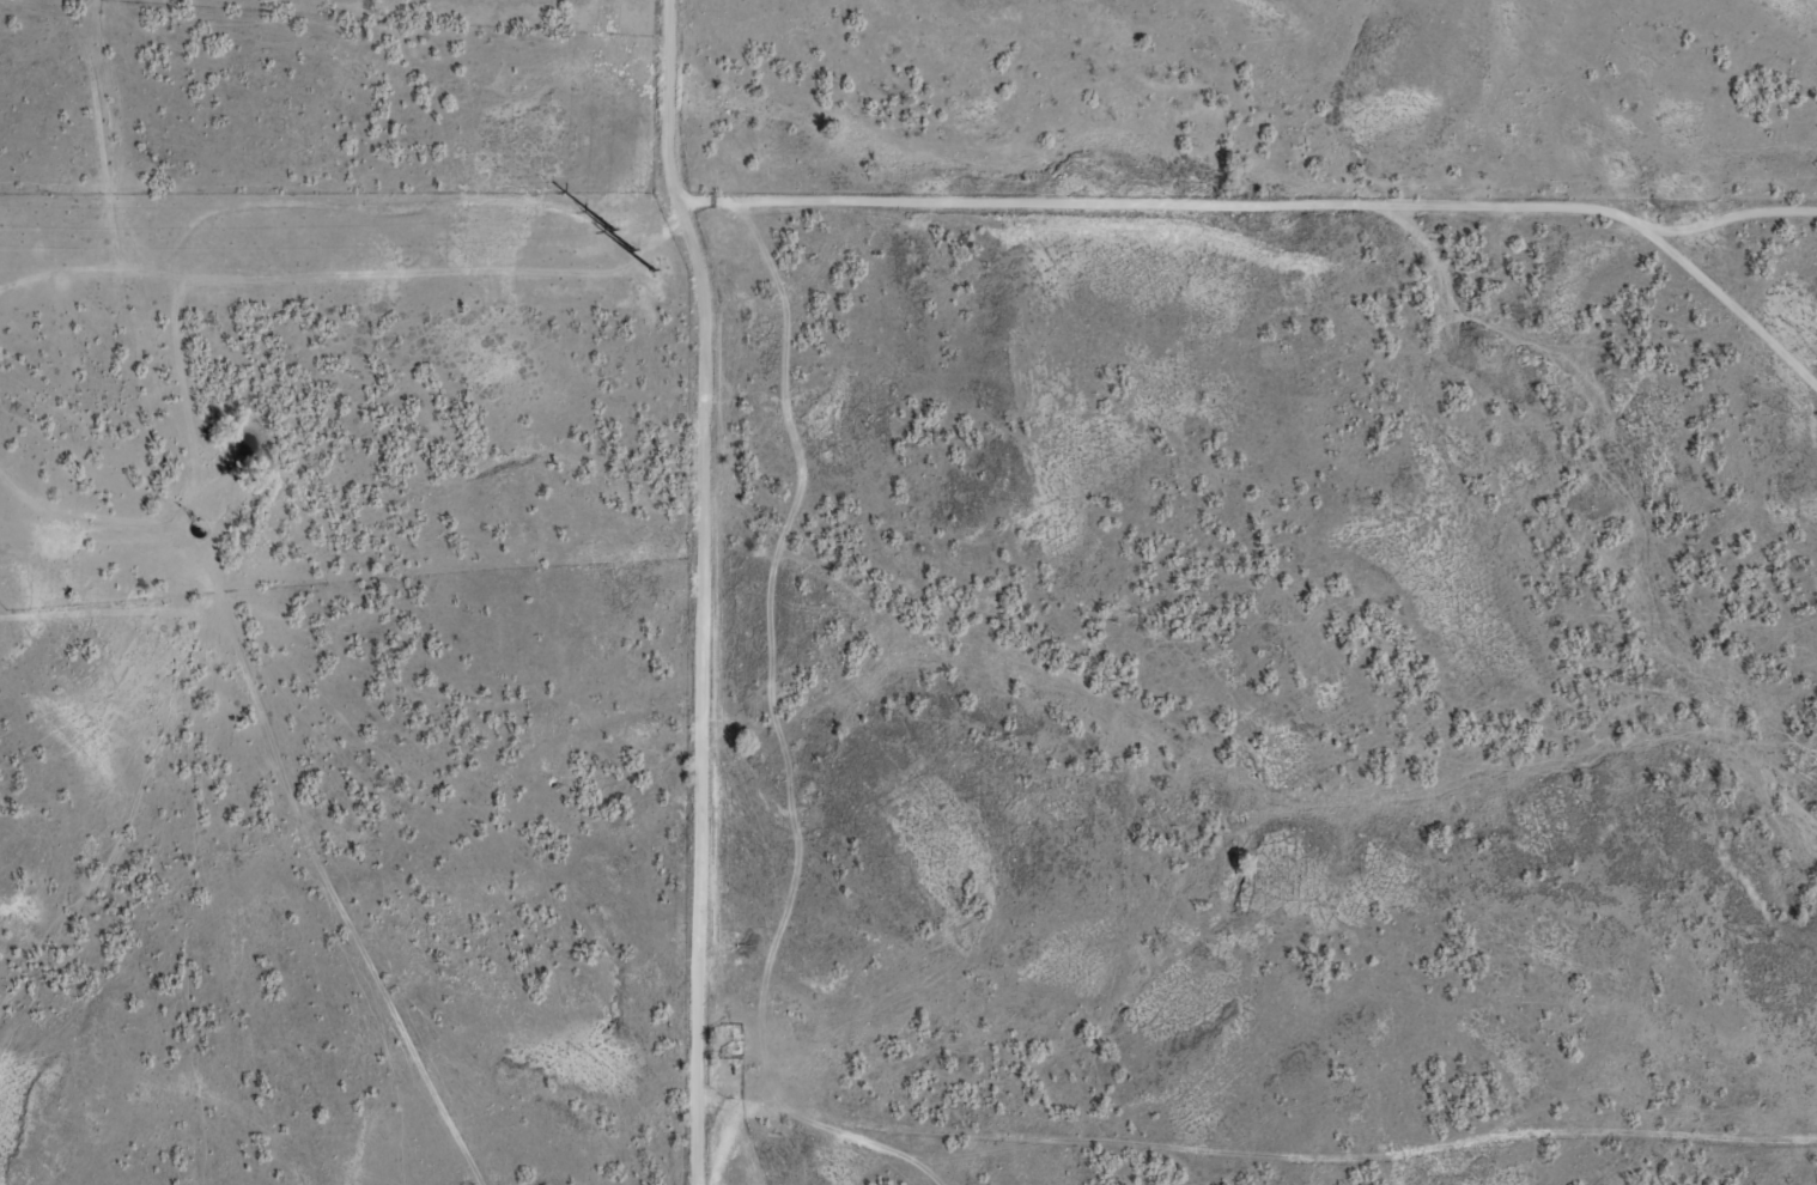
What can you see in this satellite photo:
power tower: (633, 247)
road: (709, 590)

